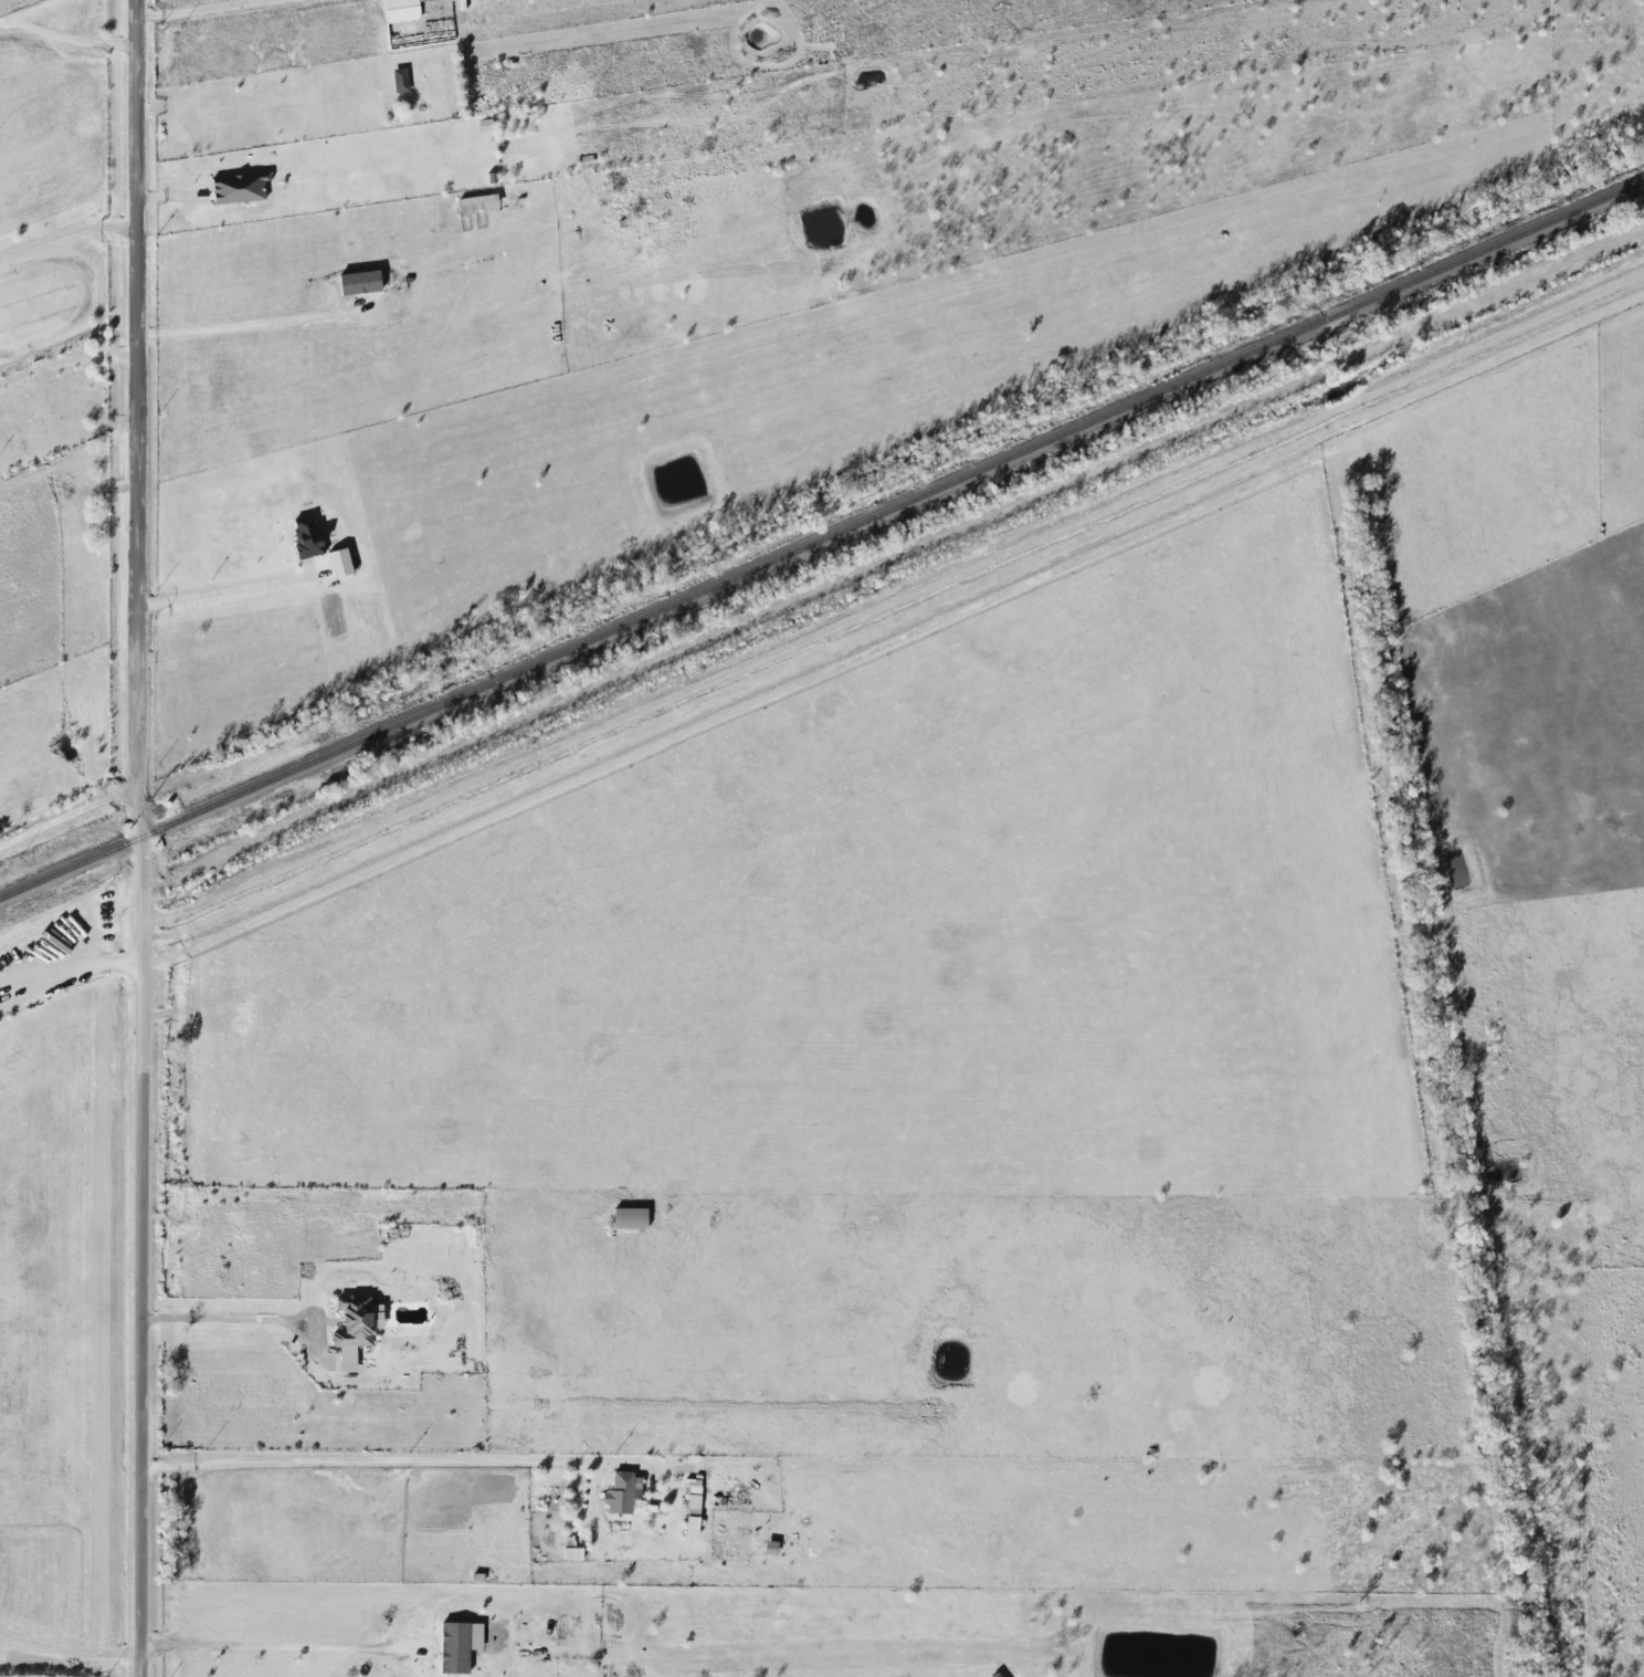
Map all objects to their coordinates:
road: (200, 10)
road: (68, 39)
building: (400, 81)
building: (605, 195)
road: (68, 233)
road: (250, 323)
railway: (821, 536)
building: (317, 537)
road: (228, 595)
building: (331, 615)
road: (70, 810)
road: (143, 838)
road: (71, 963)
building: (630, 1219)
road: (218, 1316)
building: (354, 1323)
road: (378, 1457)
building: (622, 1482)
road: (281, 1643)
road: (66, 1649)

